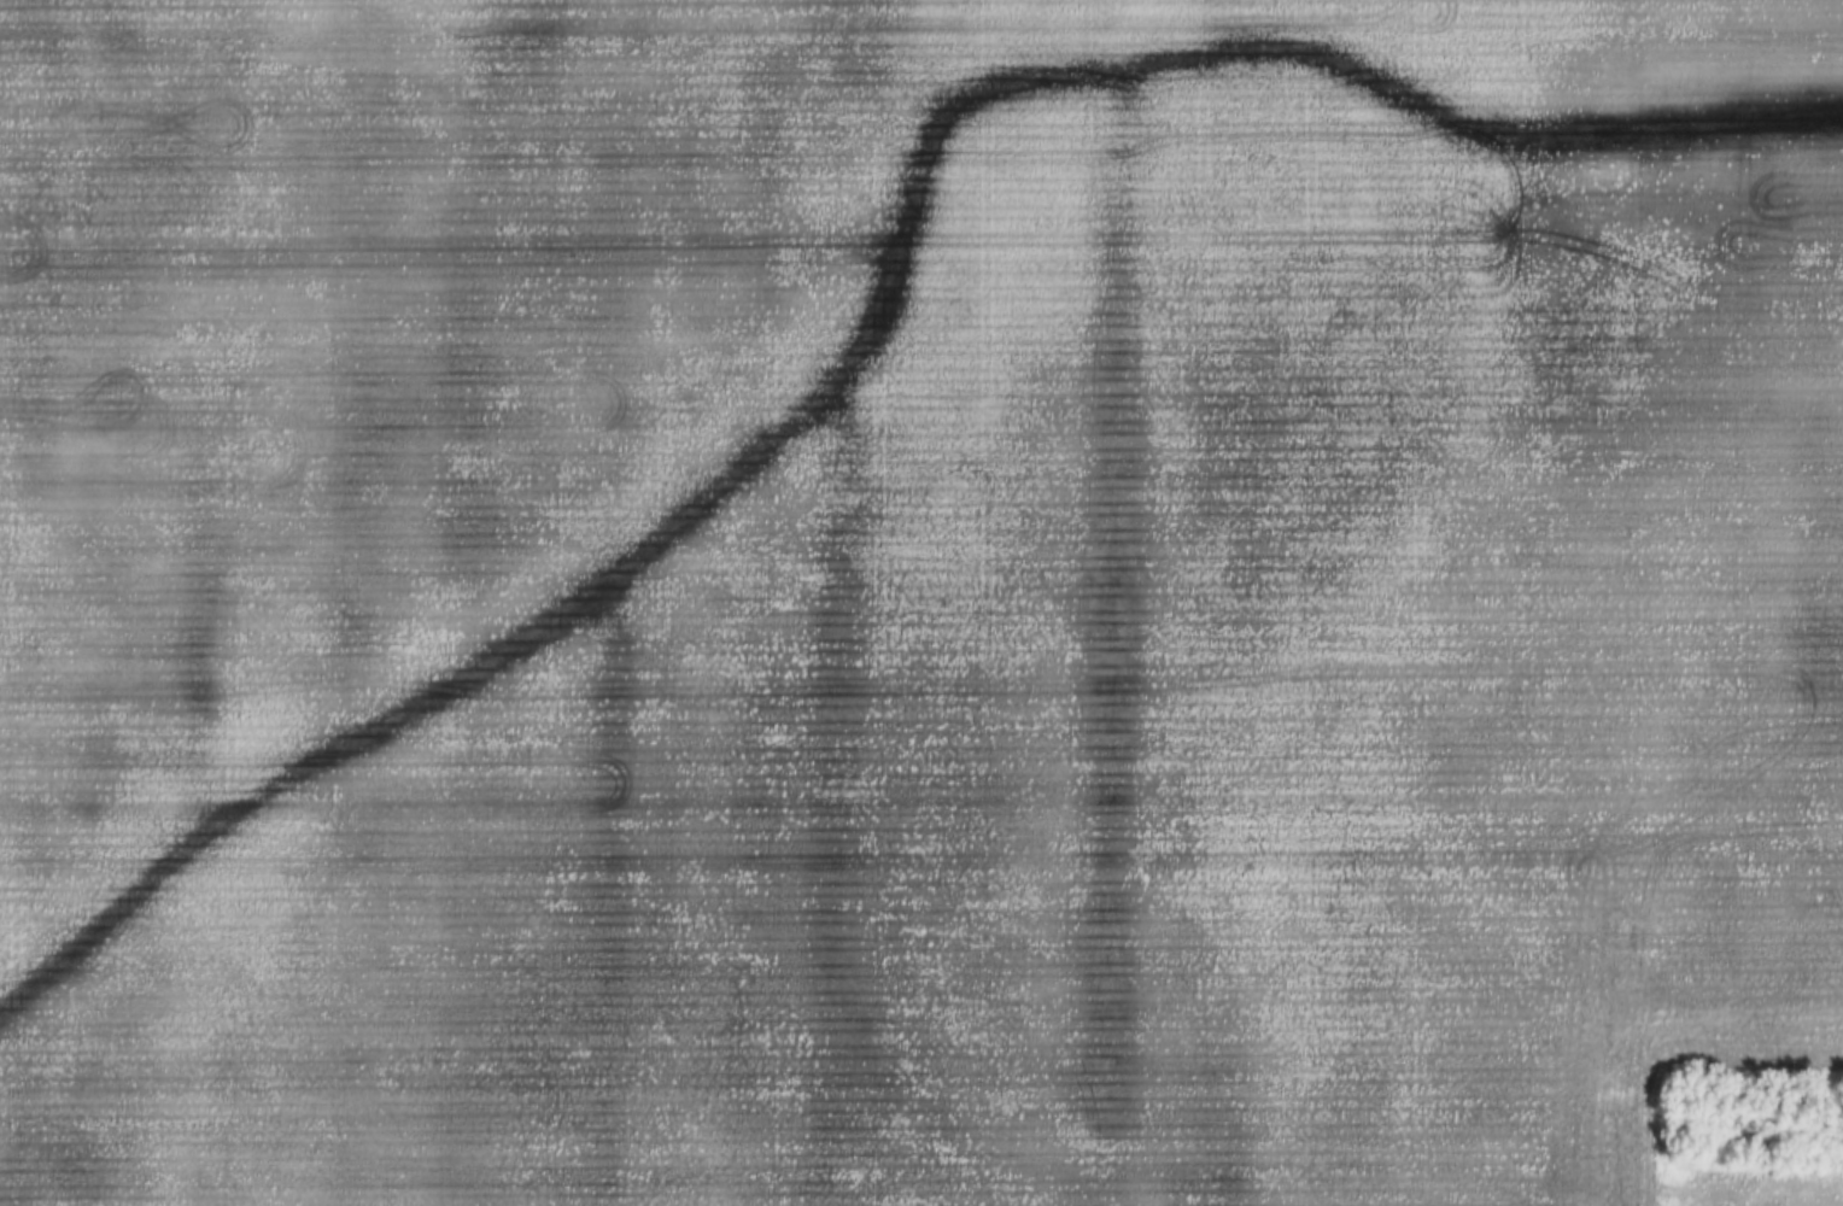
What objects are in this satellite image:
crop: (914, 598)

